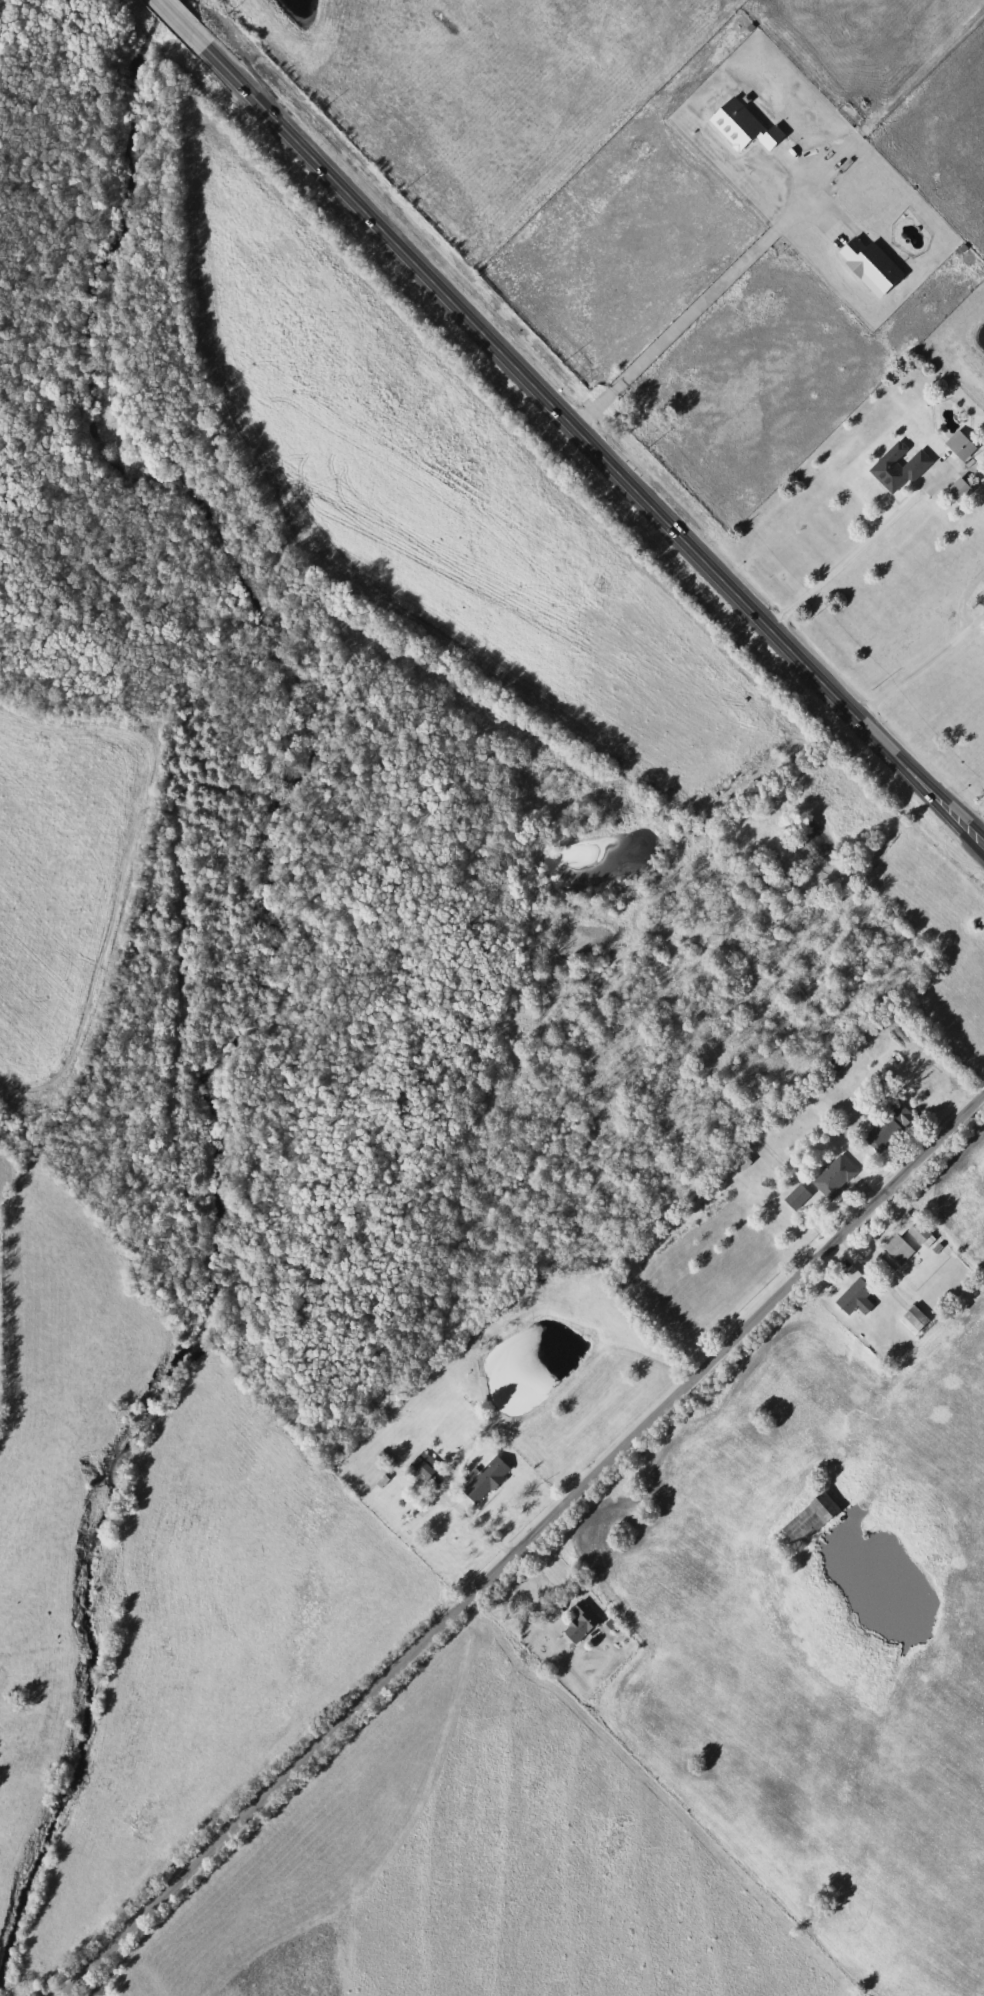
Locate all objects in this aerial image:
road: (177, 15)
building: (742, 127)
building: (868, 266)
road: (694, 312)
road: (588, 437)
building: (959, 446)
building: (897, 468)
road: (855, 551)
road: (964, 599)
road: (909, 674)
building: (888, 1128)
building: (834, 1178)
building: (796, 1197)
building: (896, 1243)
building: (857, 1298)
building: (913, 1320)
building: (427, 1470)
building: (491, 1480)
building: (809, 1519)
road: (521, 1544)
building: (585, 1623)

